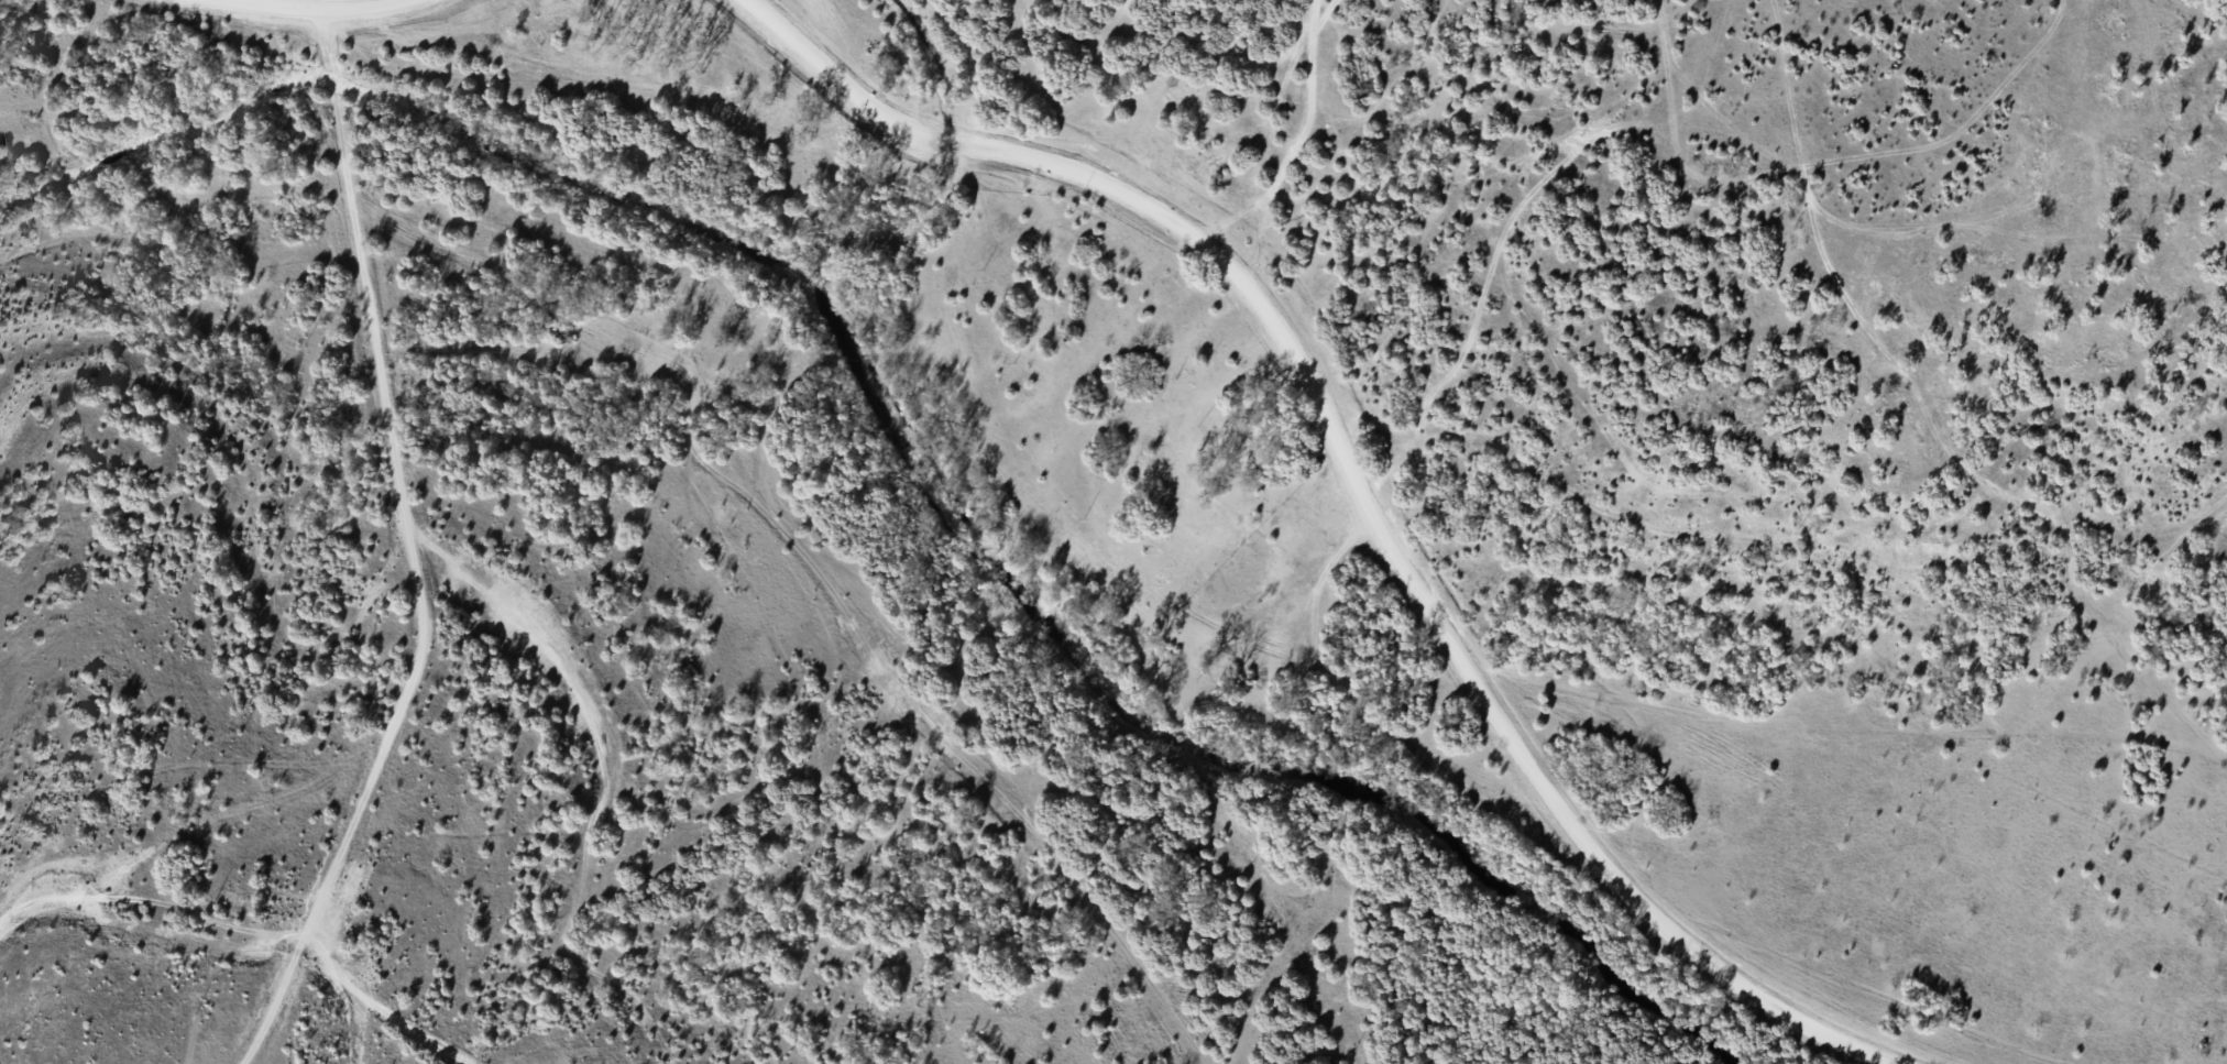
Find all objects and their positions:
road: (322, 17)
road: (1356, 473)

